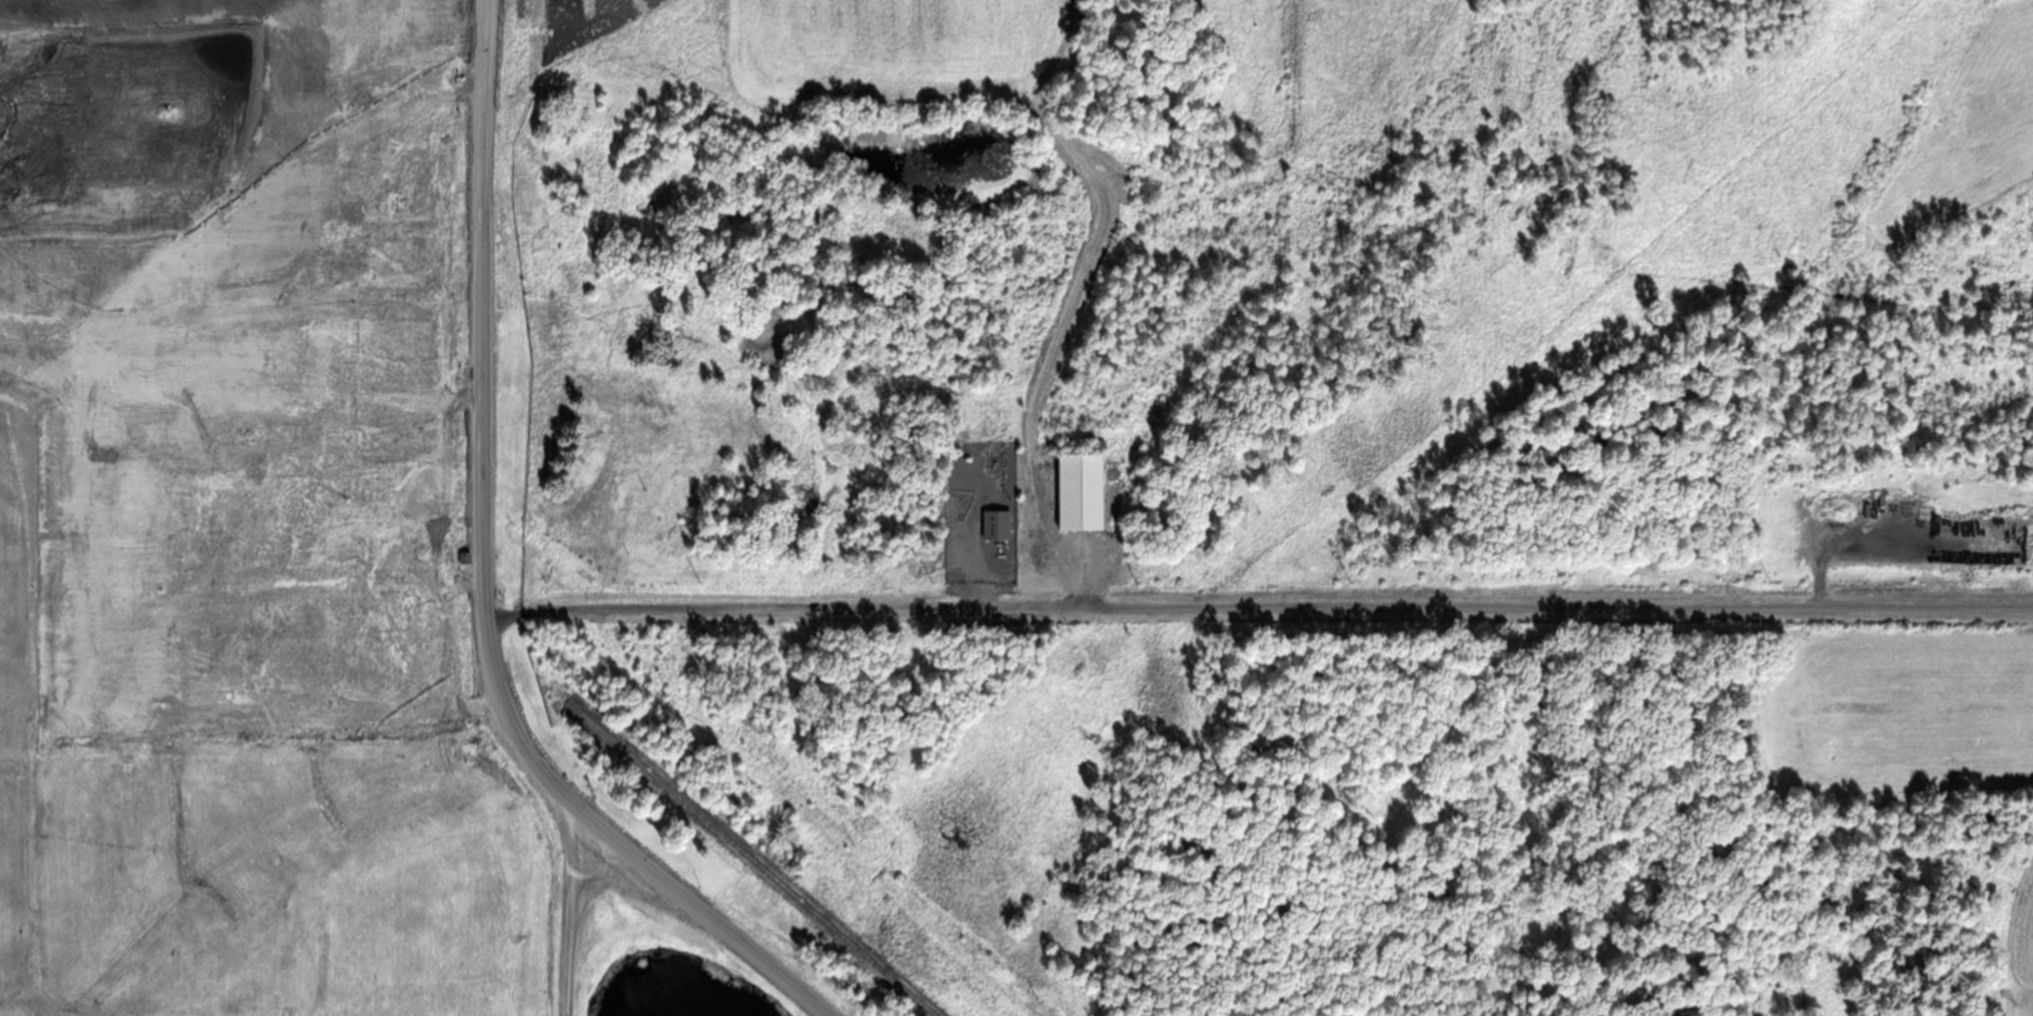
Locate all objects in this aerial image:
road: (480, 306)
building: (969, 457)
building: (1080, 490)
building: (1004, 508)
landfill: (1016, 508)
building: (1007, 528)
road: (1256, 605)
road: (471, 647)
railway: (752, 857)
road: (654, 872)

